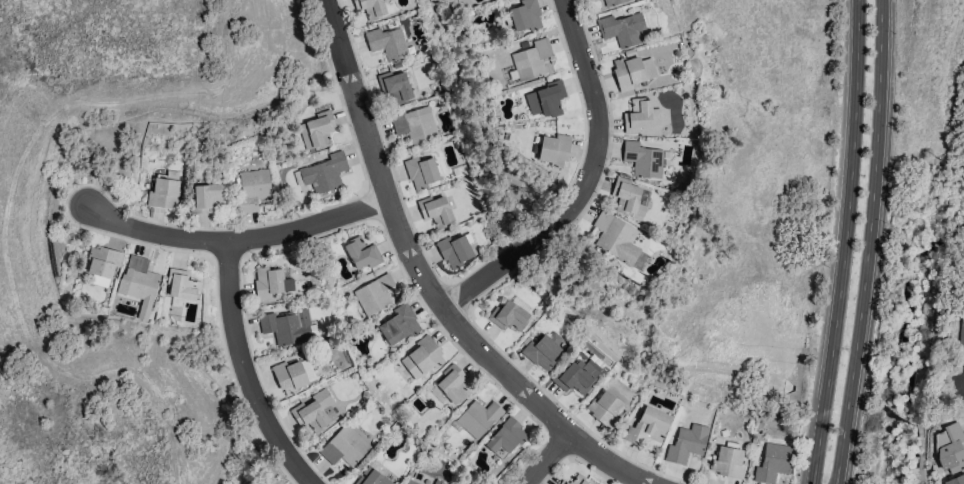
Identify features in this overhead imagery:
building: (612, 2)
building: (370, 8)
building: (523, 16)
building: (622, 29)
building: (387, 43)
building: (531, 59)
building: (632, 72)
building: (395, 86)
building: (546, 99)
building: (640, 116)
building: (415, 126)
building: (317, 129)
building: (554, 150)
building: (644, 159)
building: (806, 165)
building: (421, 172)
building: (322, 174)
road: (584, 184)
building: (253, 189)
building: (164, 191)
building: (625, 195)
building: (206, 198)
building: (435, 211)
park: (956, 214)
building: (615, 237)
road: (238, 241)
road: (843, 242)
road: (867, 242)
building: (455, 250)
building: (362, 253)
building: (102, 265)
building: (138, 280)
road: (426, 282)
building: (270, 283)
building: (182, 285)
building: (374, 295)
building: (508, 316)
building: (399, 325)
building: (287, 327)
building: (961, 329)
building: (543, 350)
building: (422, 358)
road: (244, 372)
building: (577, 376)
building: (289, 377)
building: (450, 386)
building: (605, 409)
building: (315, 412)
building: (478, 418)
building: (647, 427)
building: (506, 438)
building: (687, 444)
building: (344, 447)
building: (953, 451)
road: (546, 458)
park: (907, 459)
building: (728, 462)
building: (773, 463)
building: (371, 477)
building: (578, 480)
building: (956, 480)
building: (409, 482)
building: (438, 482)
building: (563, 482)
building: (415, 483)

